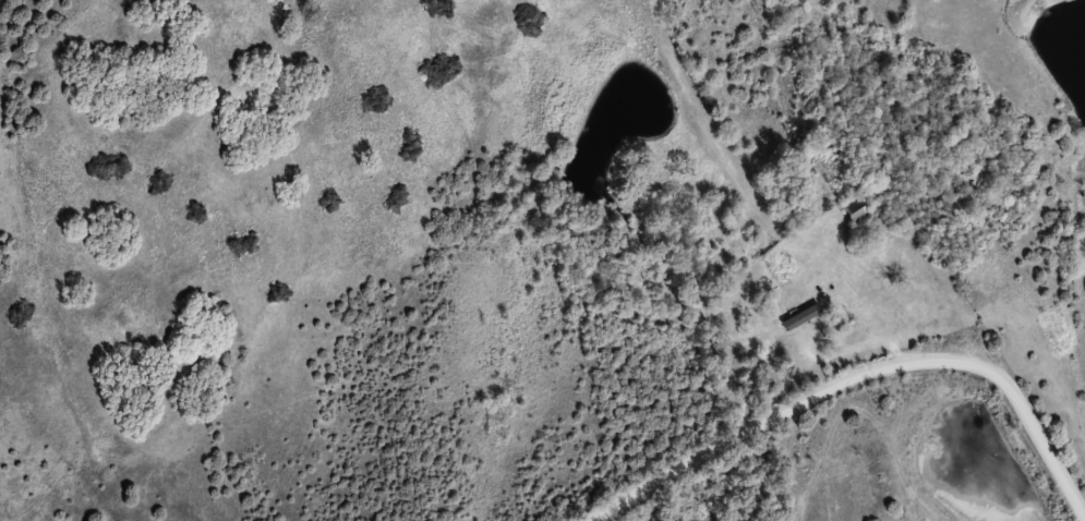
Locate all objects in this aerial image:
building: (857, 211)
road: (867, 378)

